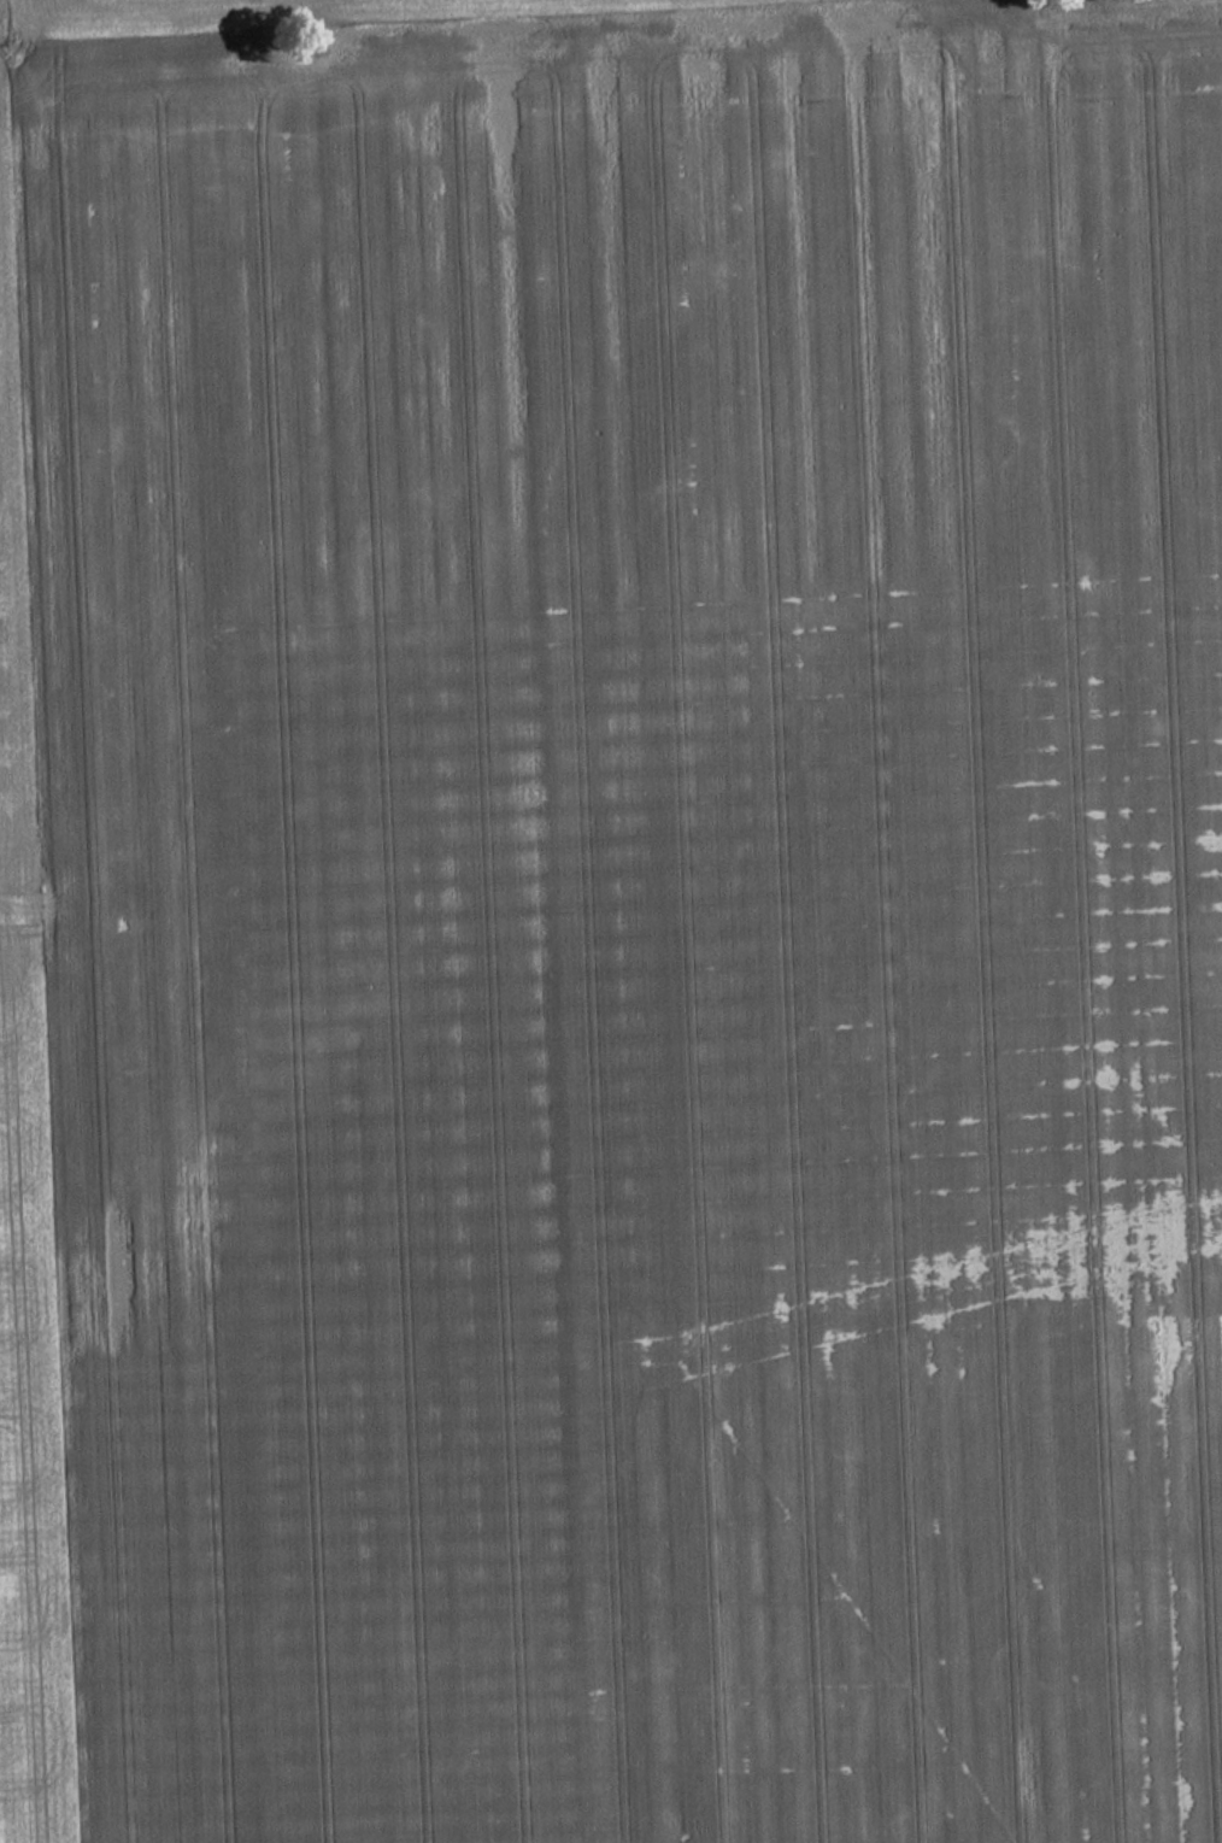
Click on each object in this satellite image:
crop: (260, 10)
crop: (612, 927)

